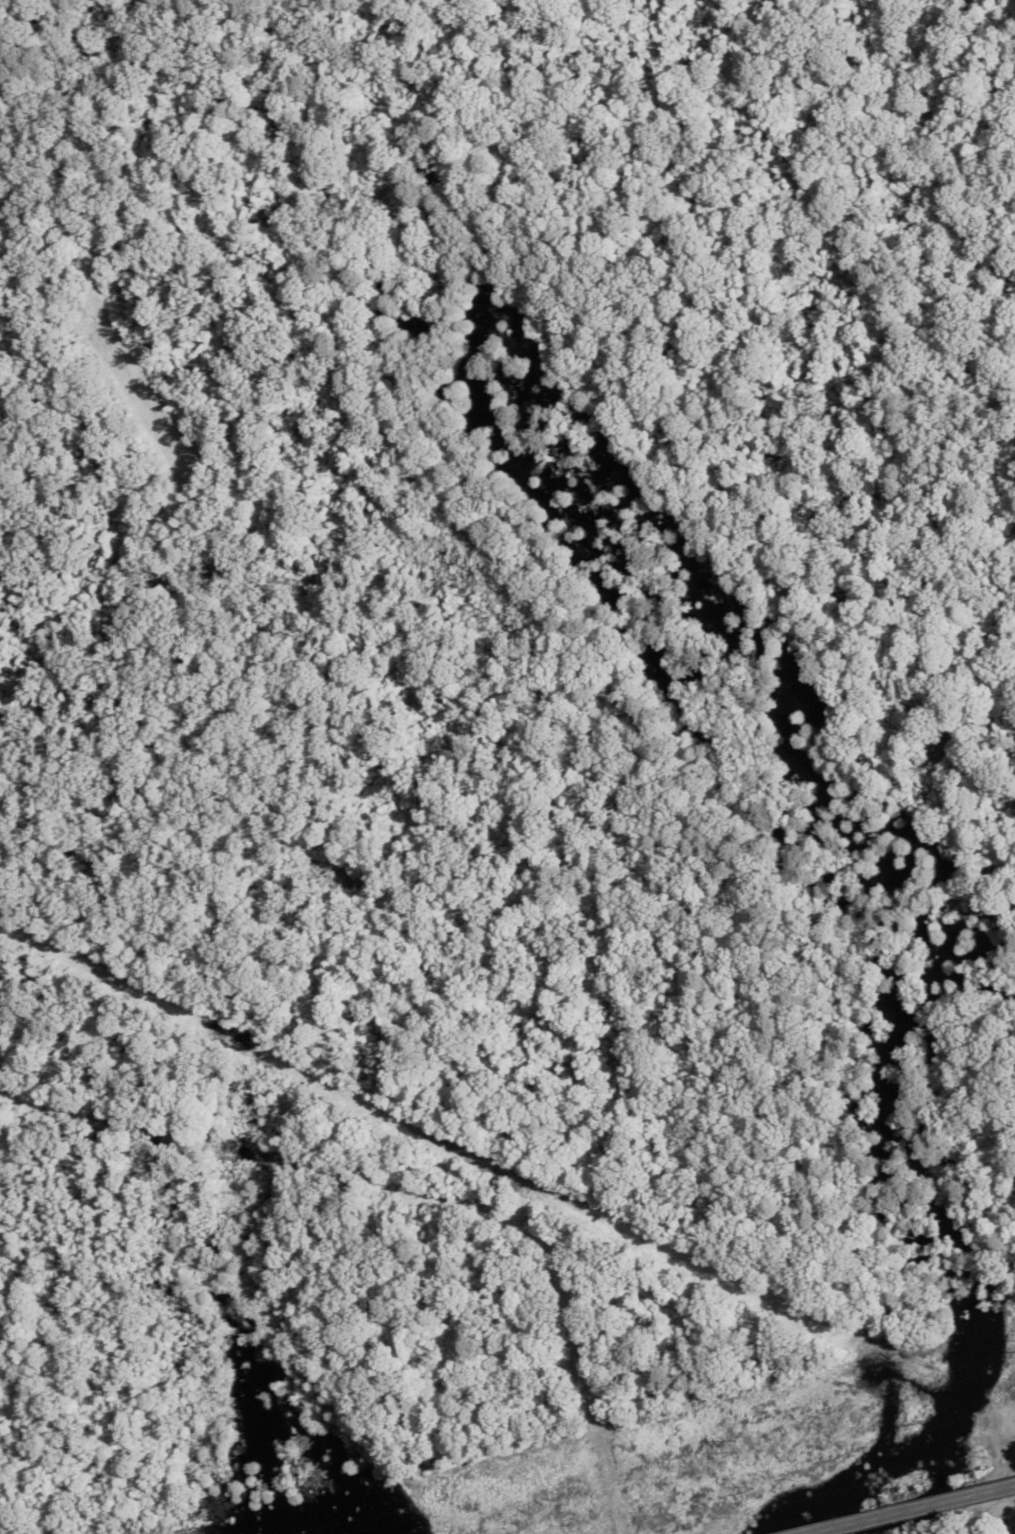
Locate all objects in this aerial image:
power tower: (734, 1445)
road: (913, 1510)
road: (998, 1518)

